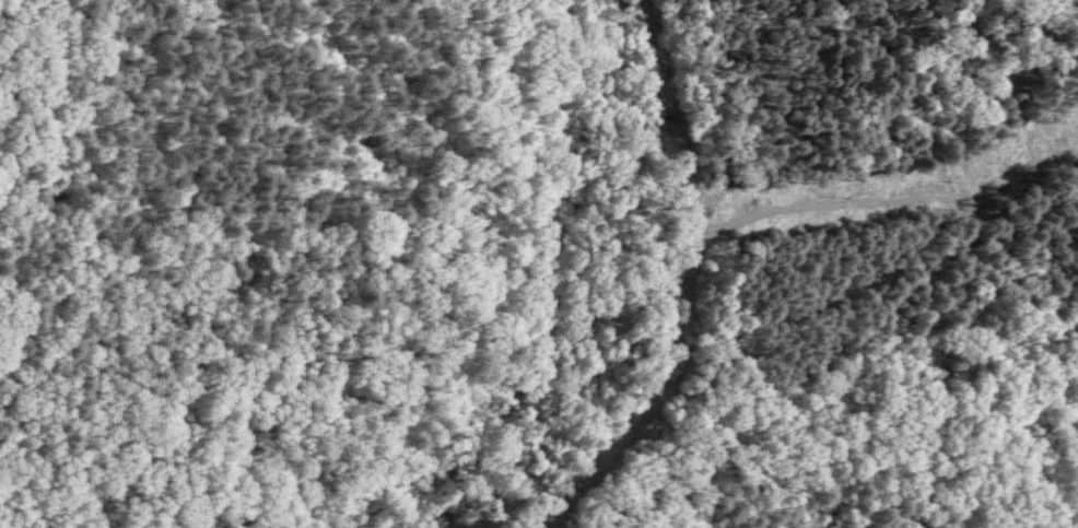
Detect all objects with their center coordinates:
road: (687, 269)

